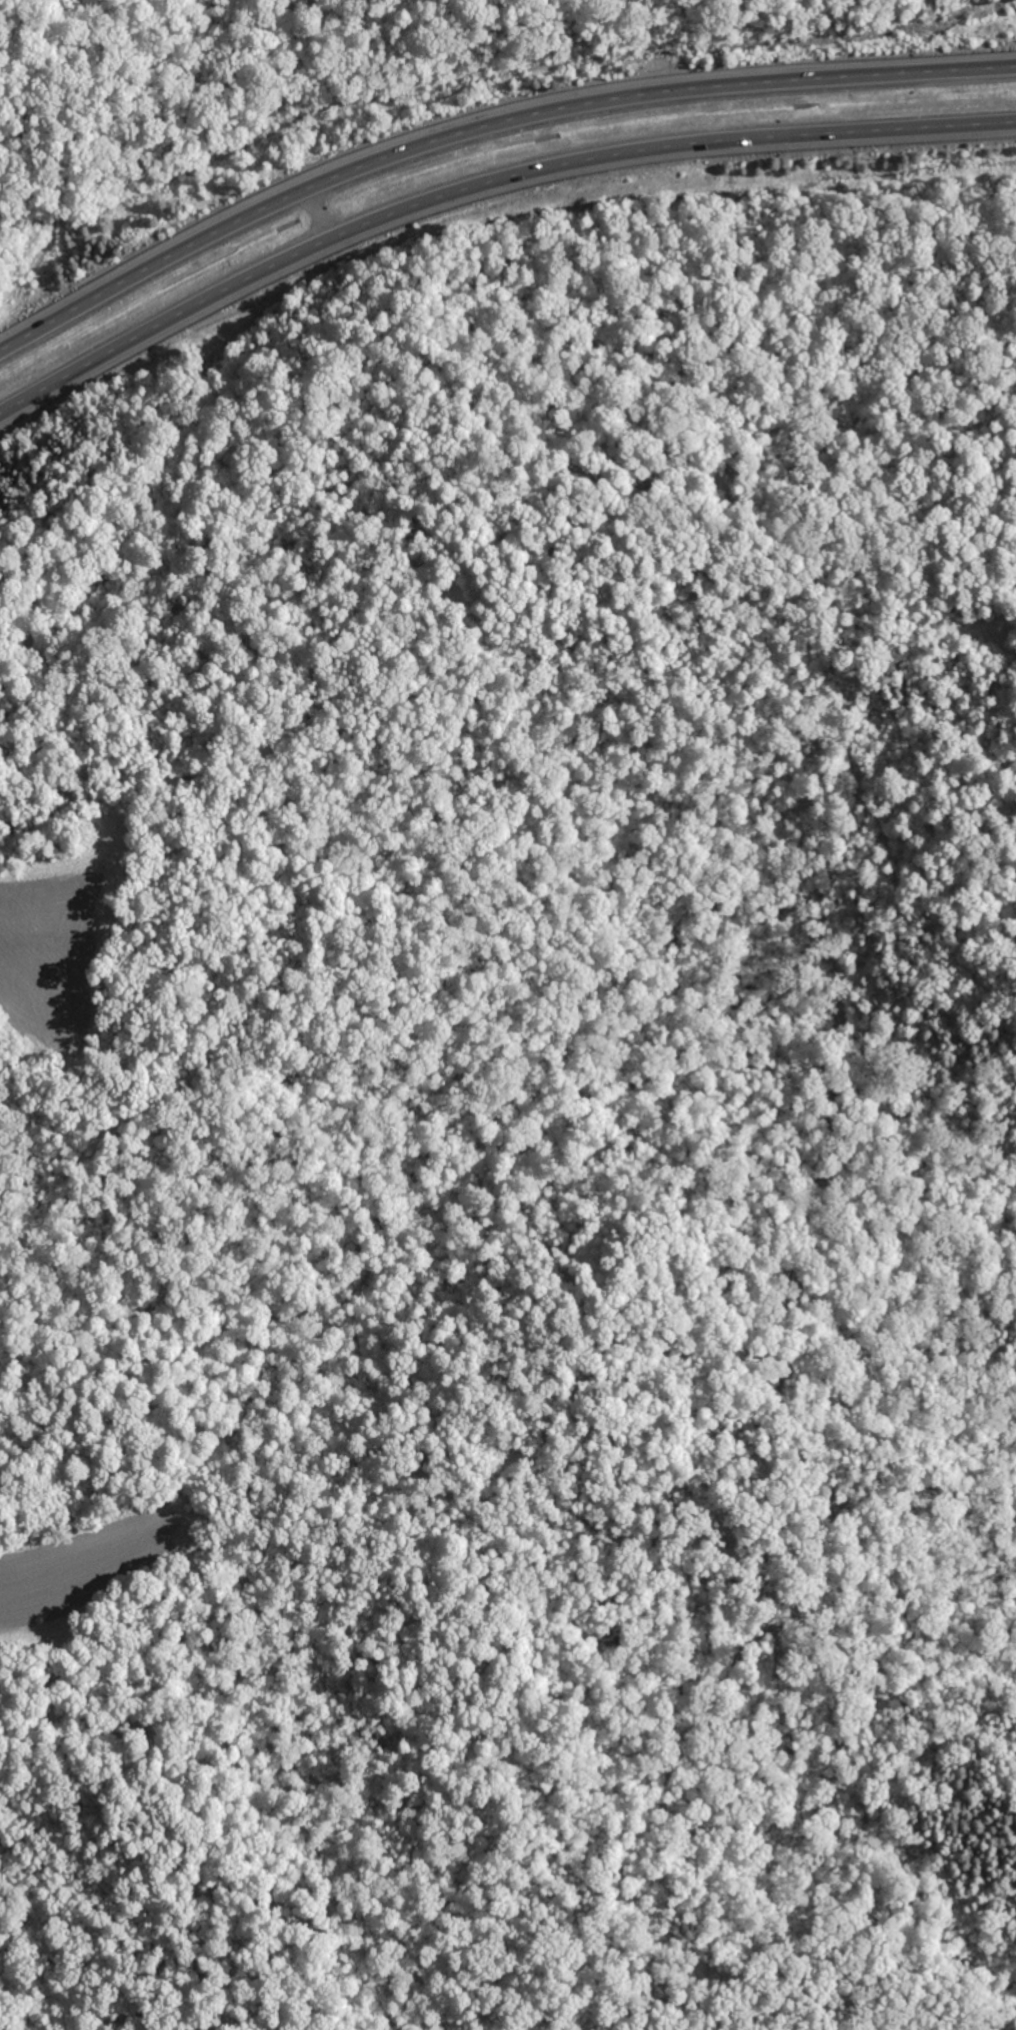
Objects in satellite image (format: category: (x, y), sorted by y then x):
road: (486, 127)
road: (484, 193)

